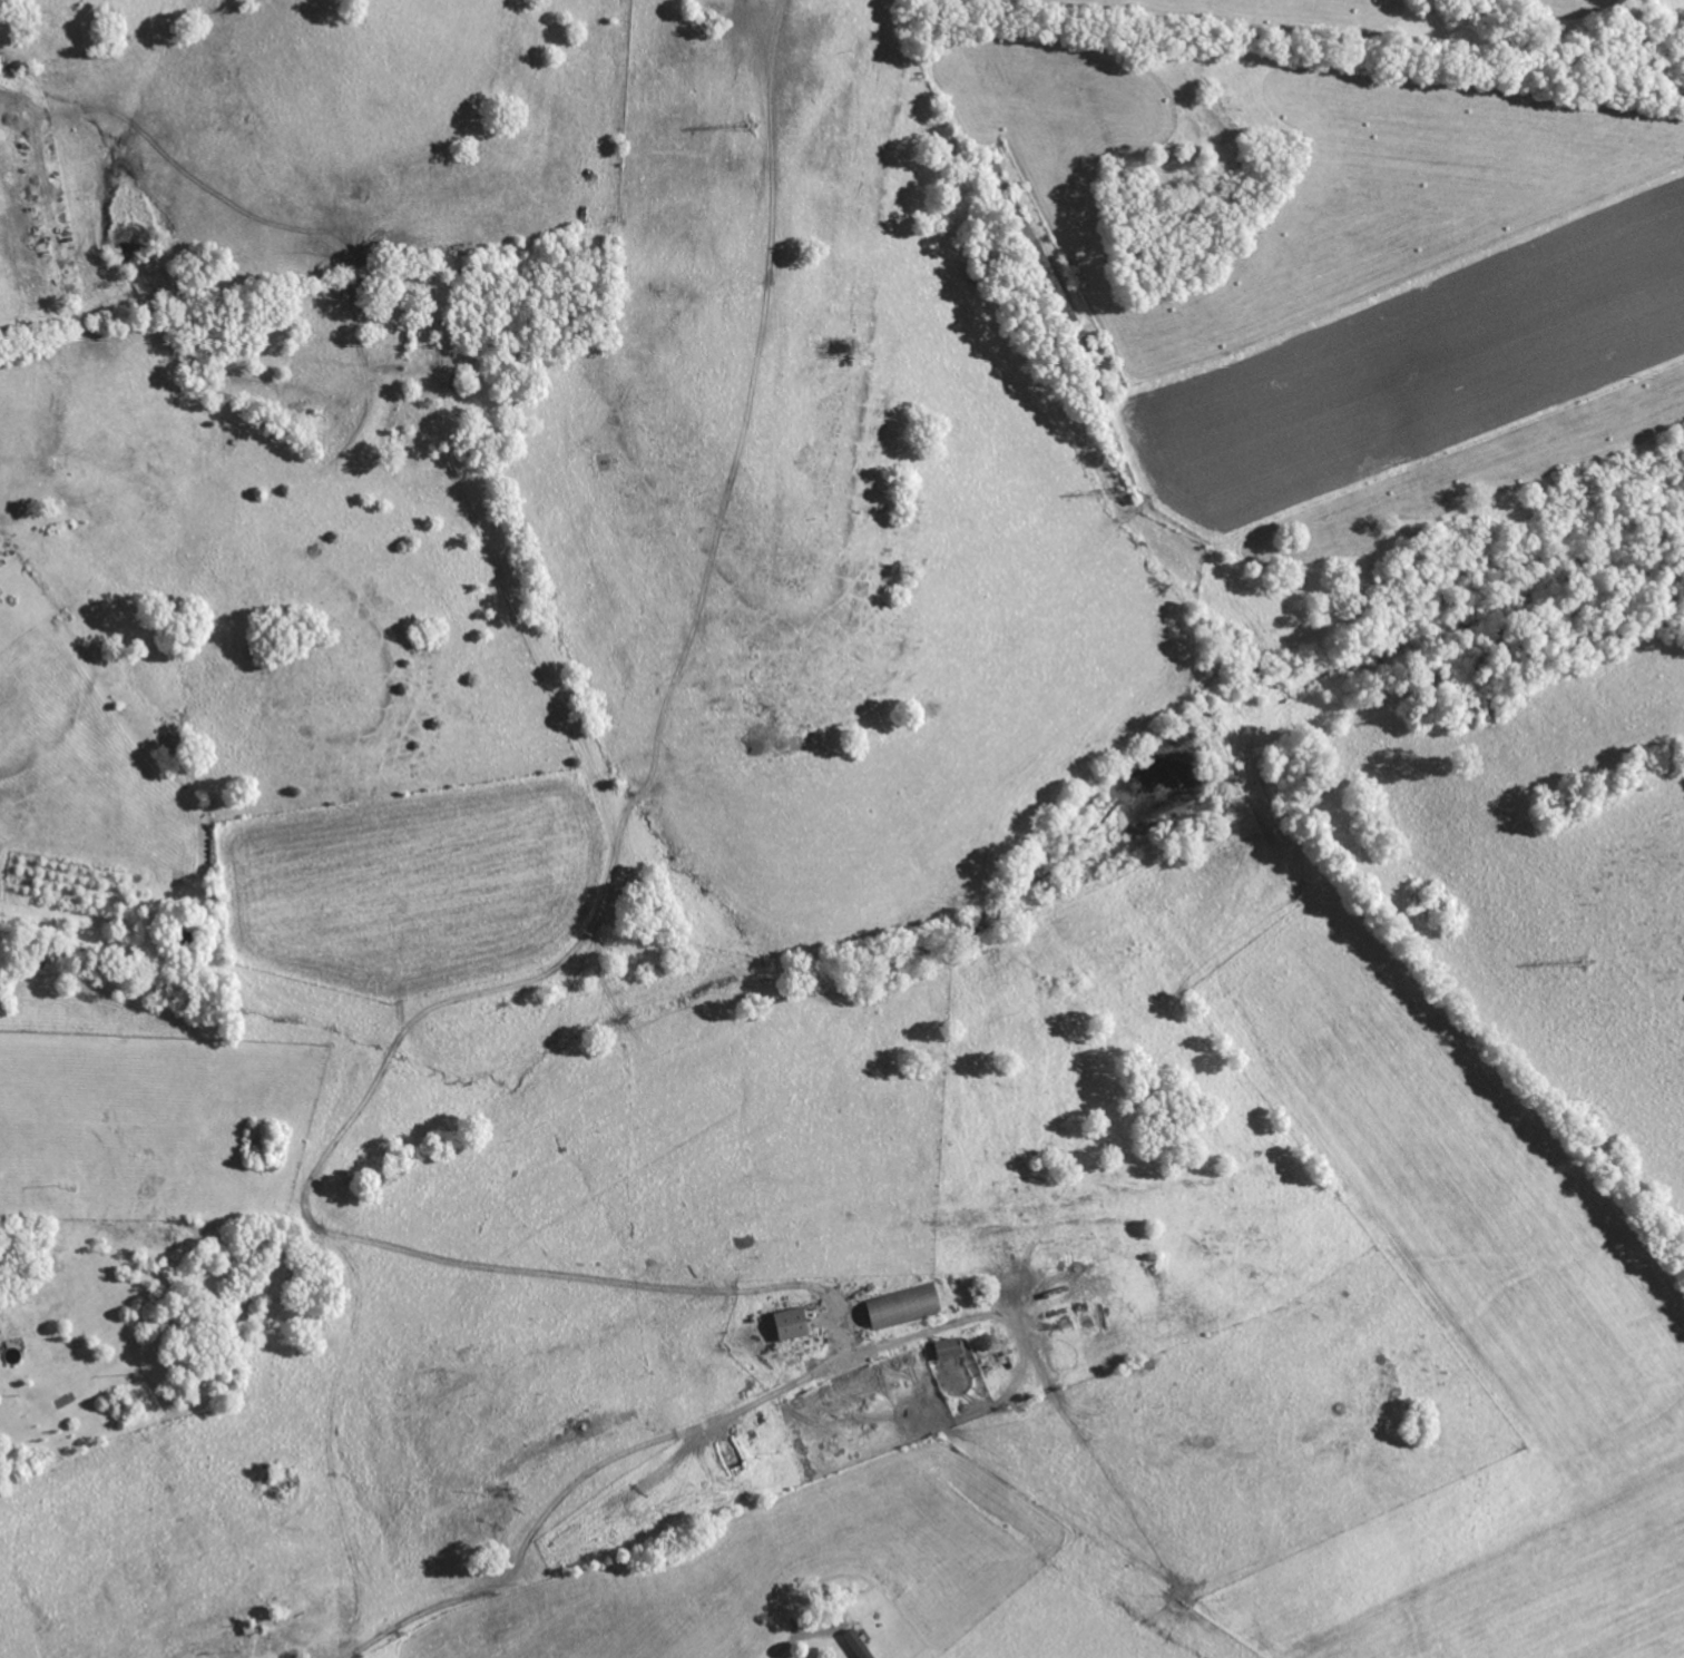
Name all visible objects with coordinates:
road: (11, 97)
power tower: (752, 126)
road: (733, 471)
power tower: (1122, 492)
power tower: (1589, 962)
road: (382, 1245)
building: (904, 1306)
building: (793, 1324)
building: (949, 1350)
road: (605, 1465)
road: (802, 1632)

